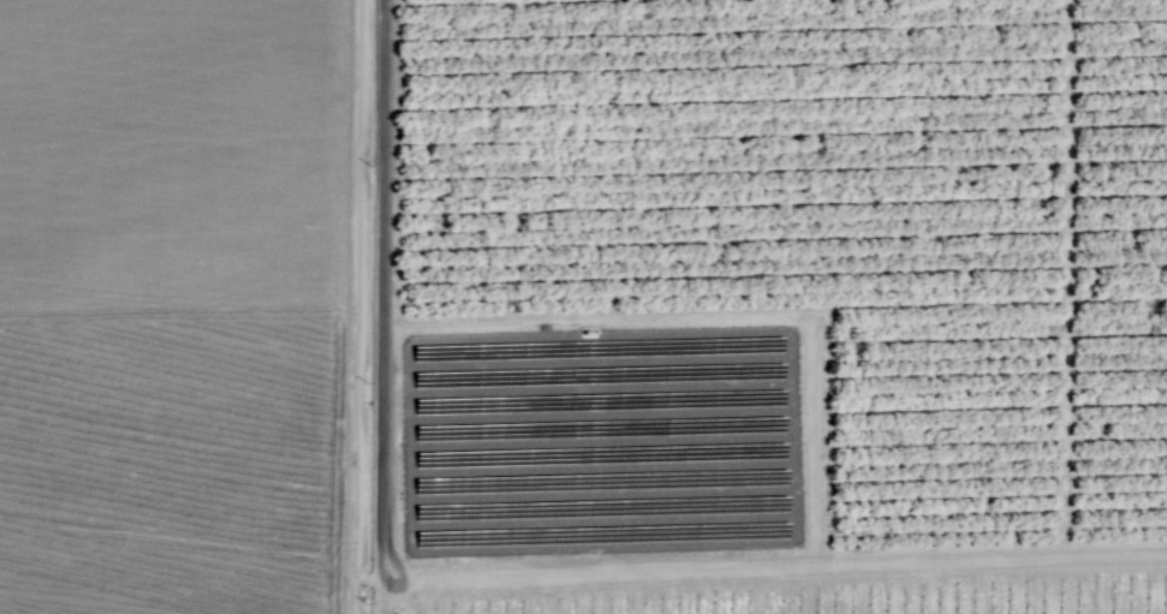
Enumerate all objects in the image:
road: (380, 306)
road: (713, 317)
solar farm: (601, 441)
crop: (654, 479)
road: (772, 561)
road: (886, 586)

